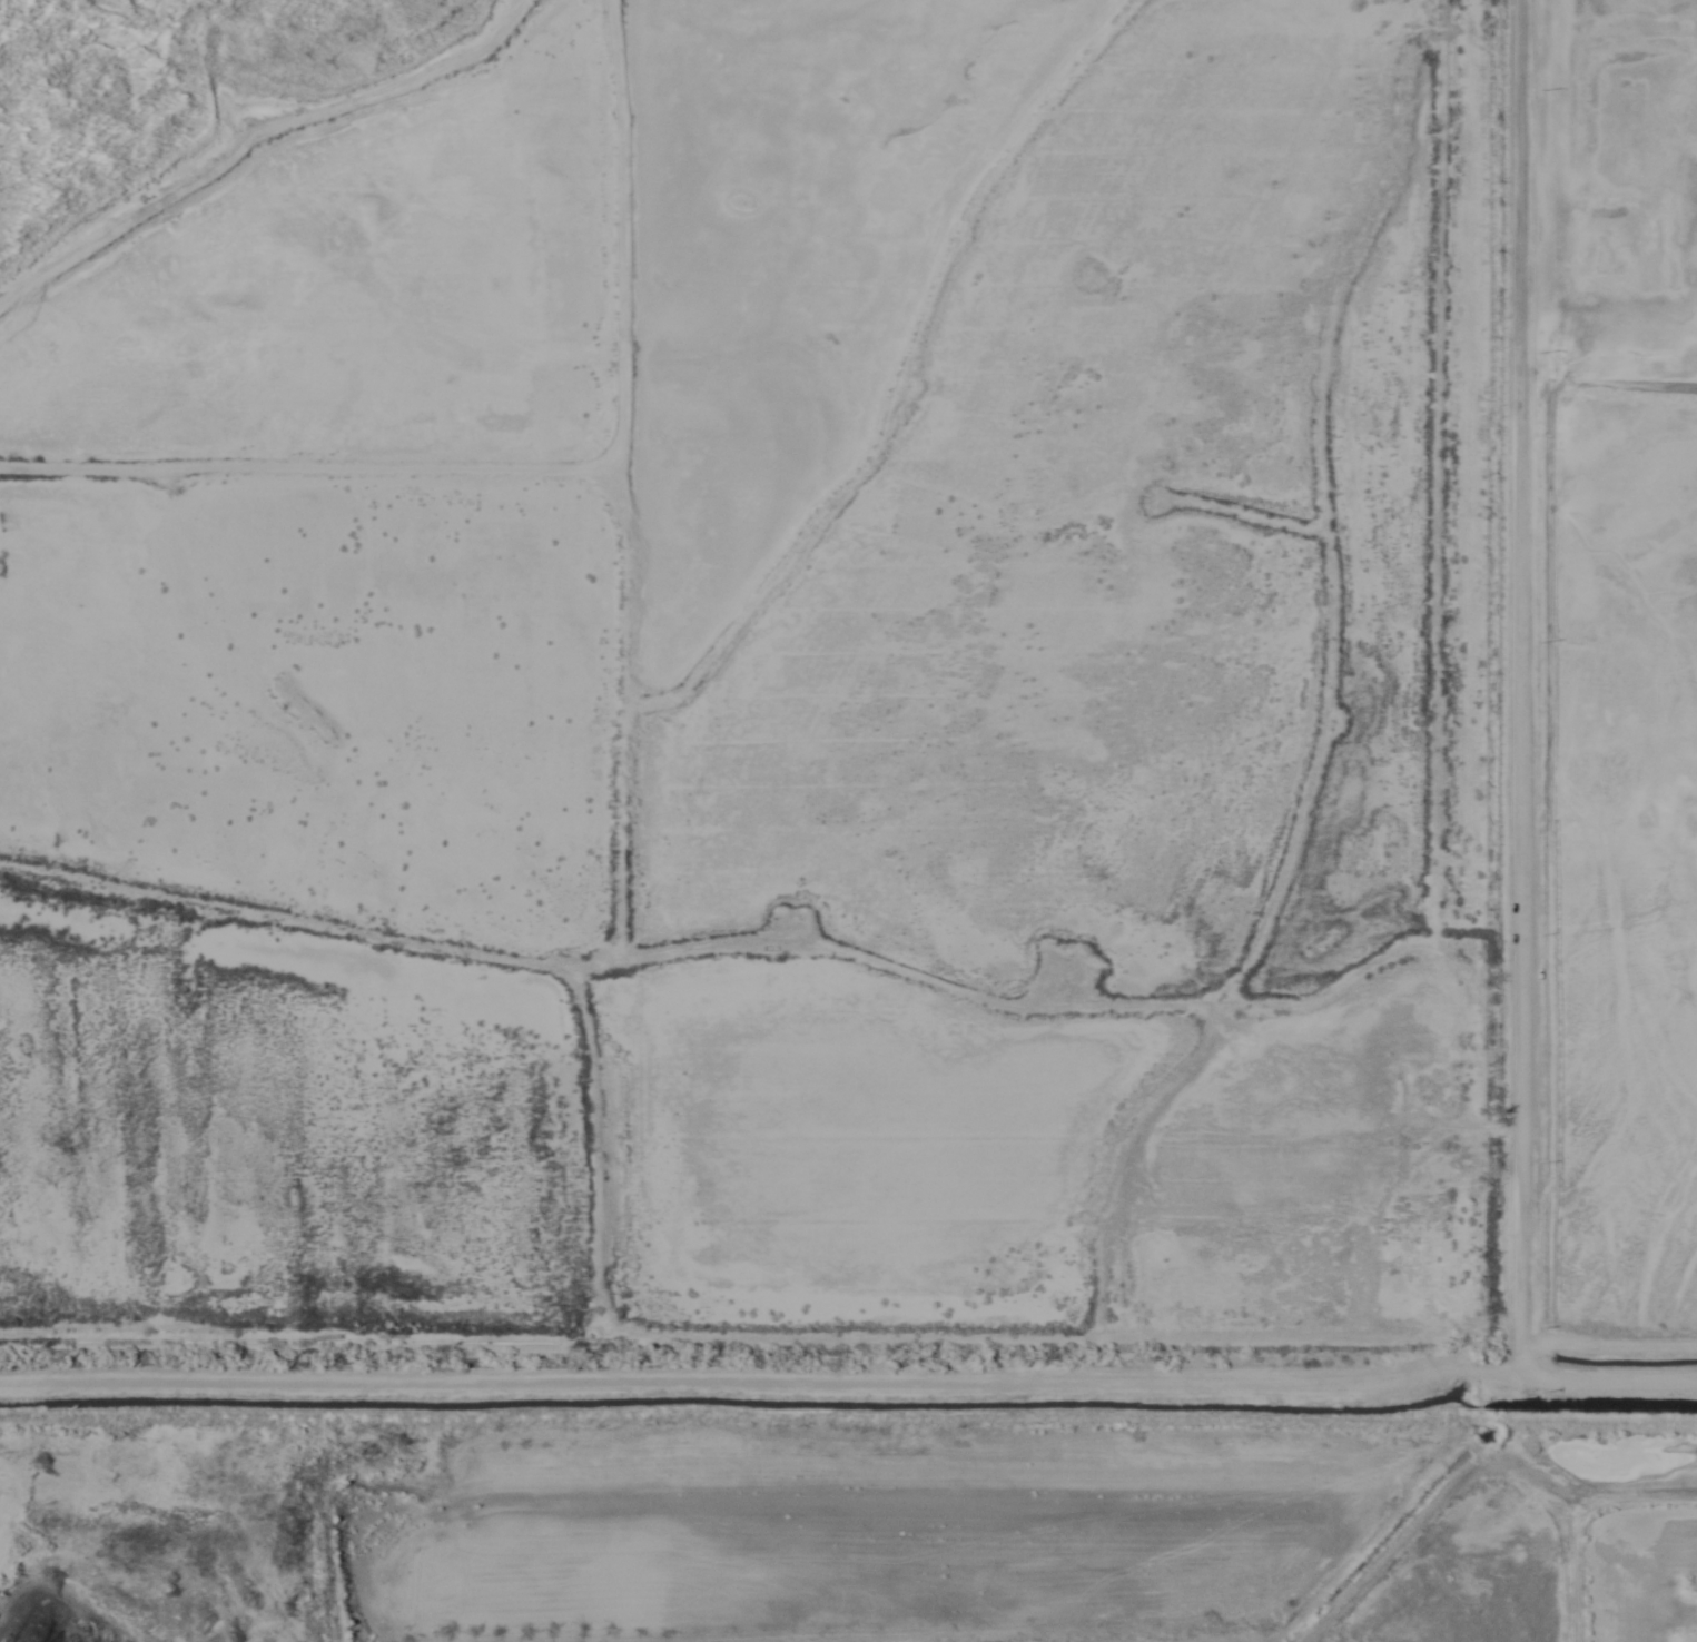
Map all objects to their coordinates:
road: (1520, 688)
road: (769, 1374)
road: (1617, 1374)

